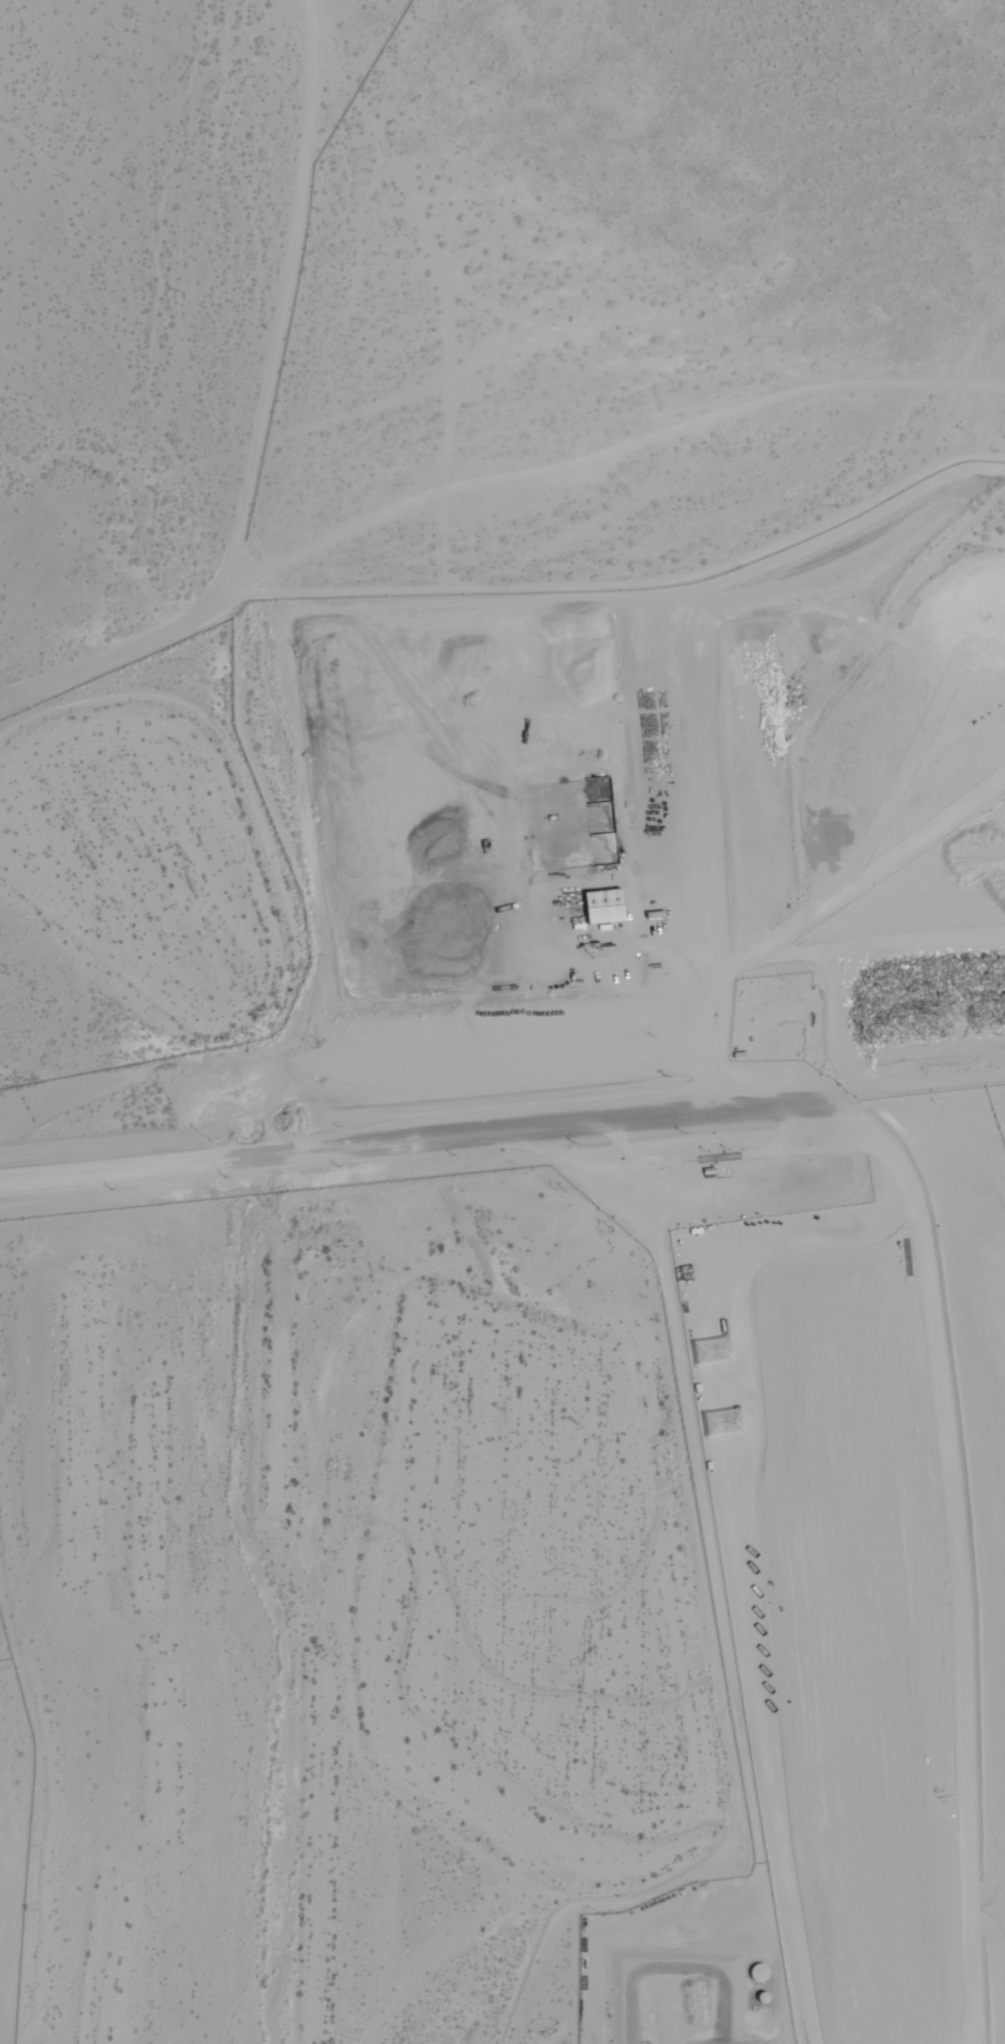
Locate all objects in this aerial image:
building: (602, 907)
road: (421, 1140)
building: (717, 1351)
building: (728, 1423)
building: (762, 1973)

